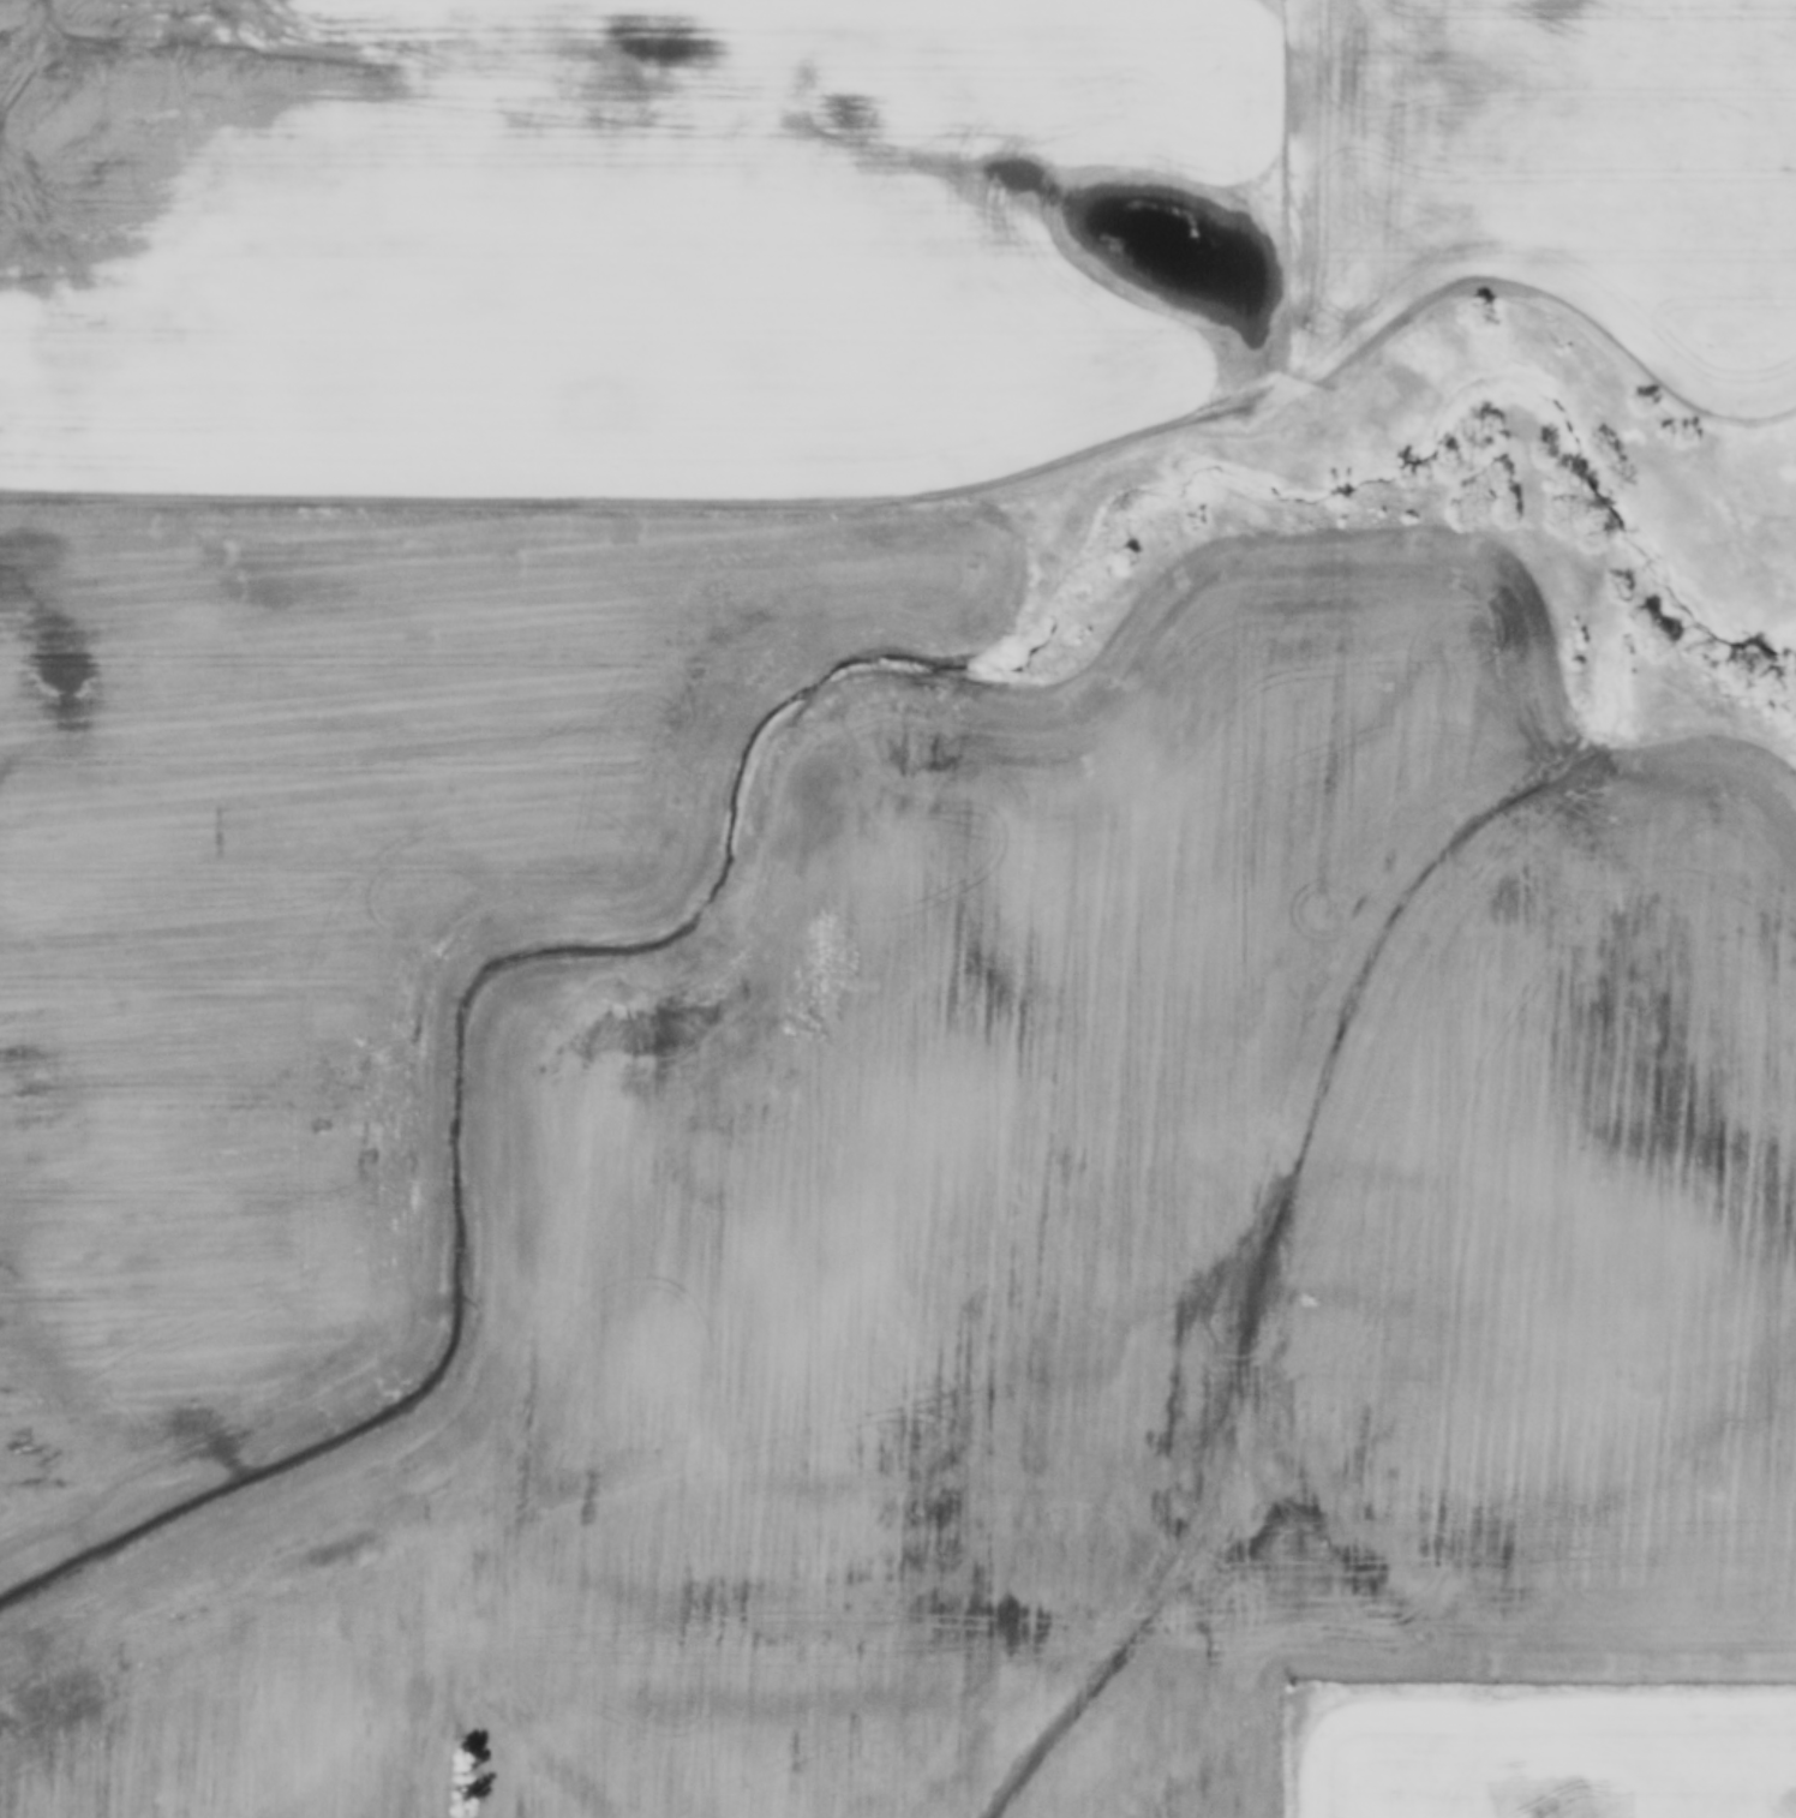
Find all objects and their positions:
road: (887, 510)

